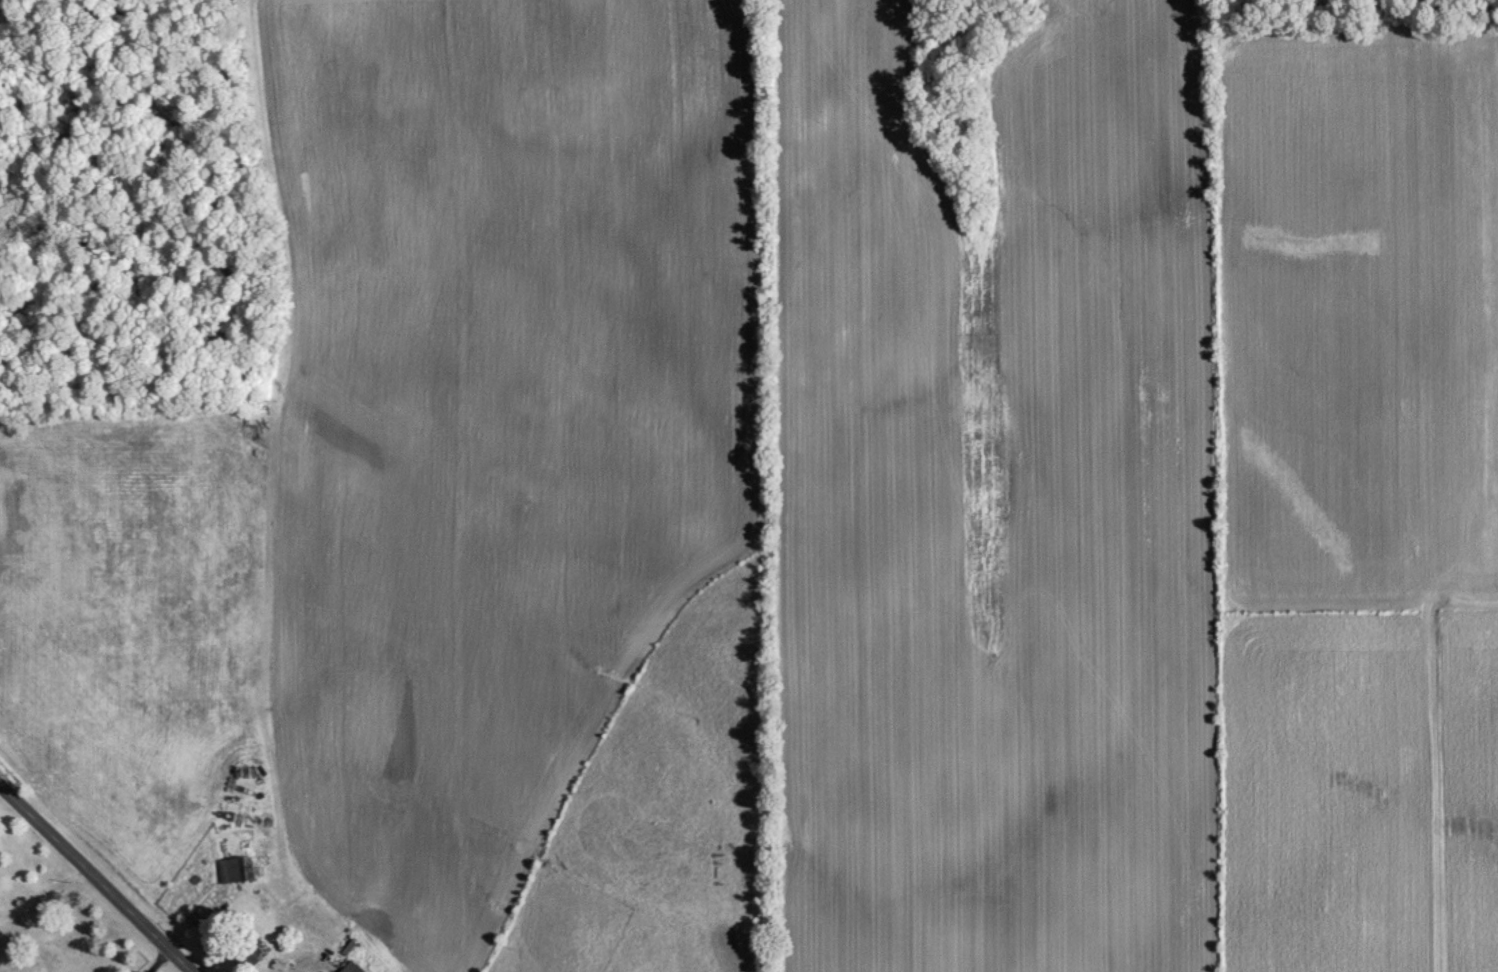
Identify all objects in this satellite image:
building: (239, 868)
road: (100, 876)
building: (246, 949)
road: (162, 959)
building: (348, 966)

